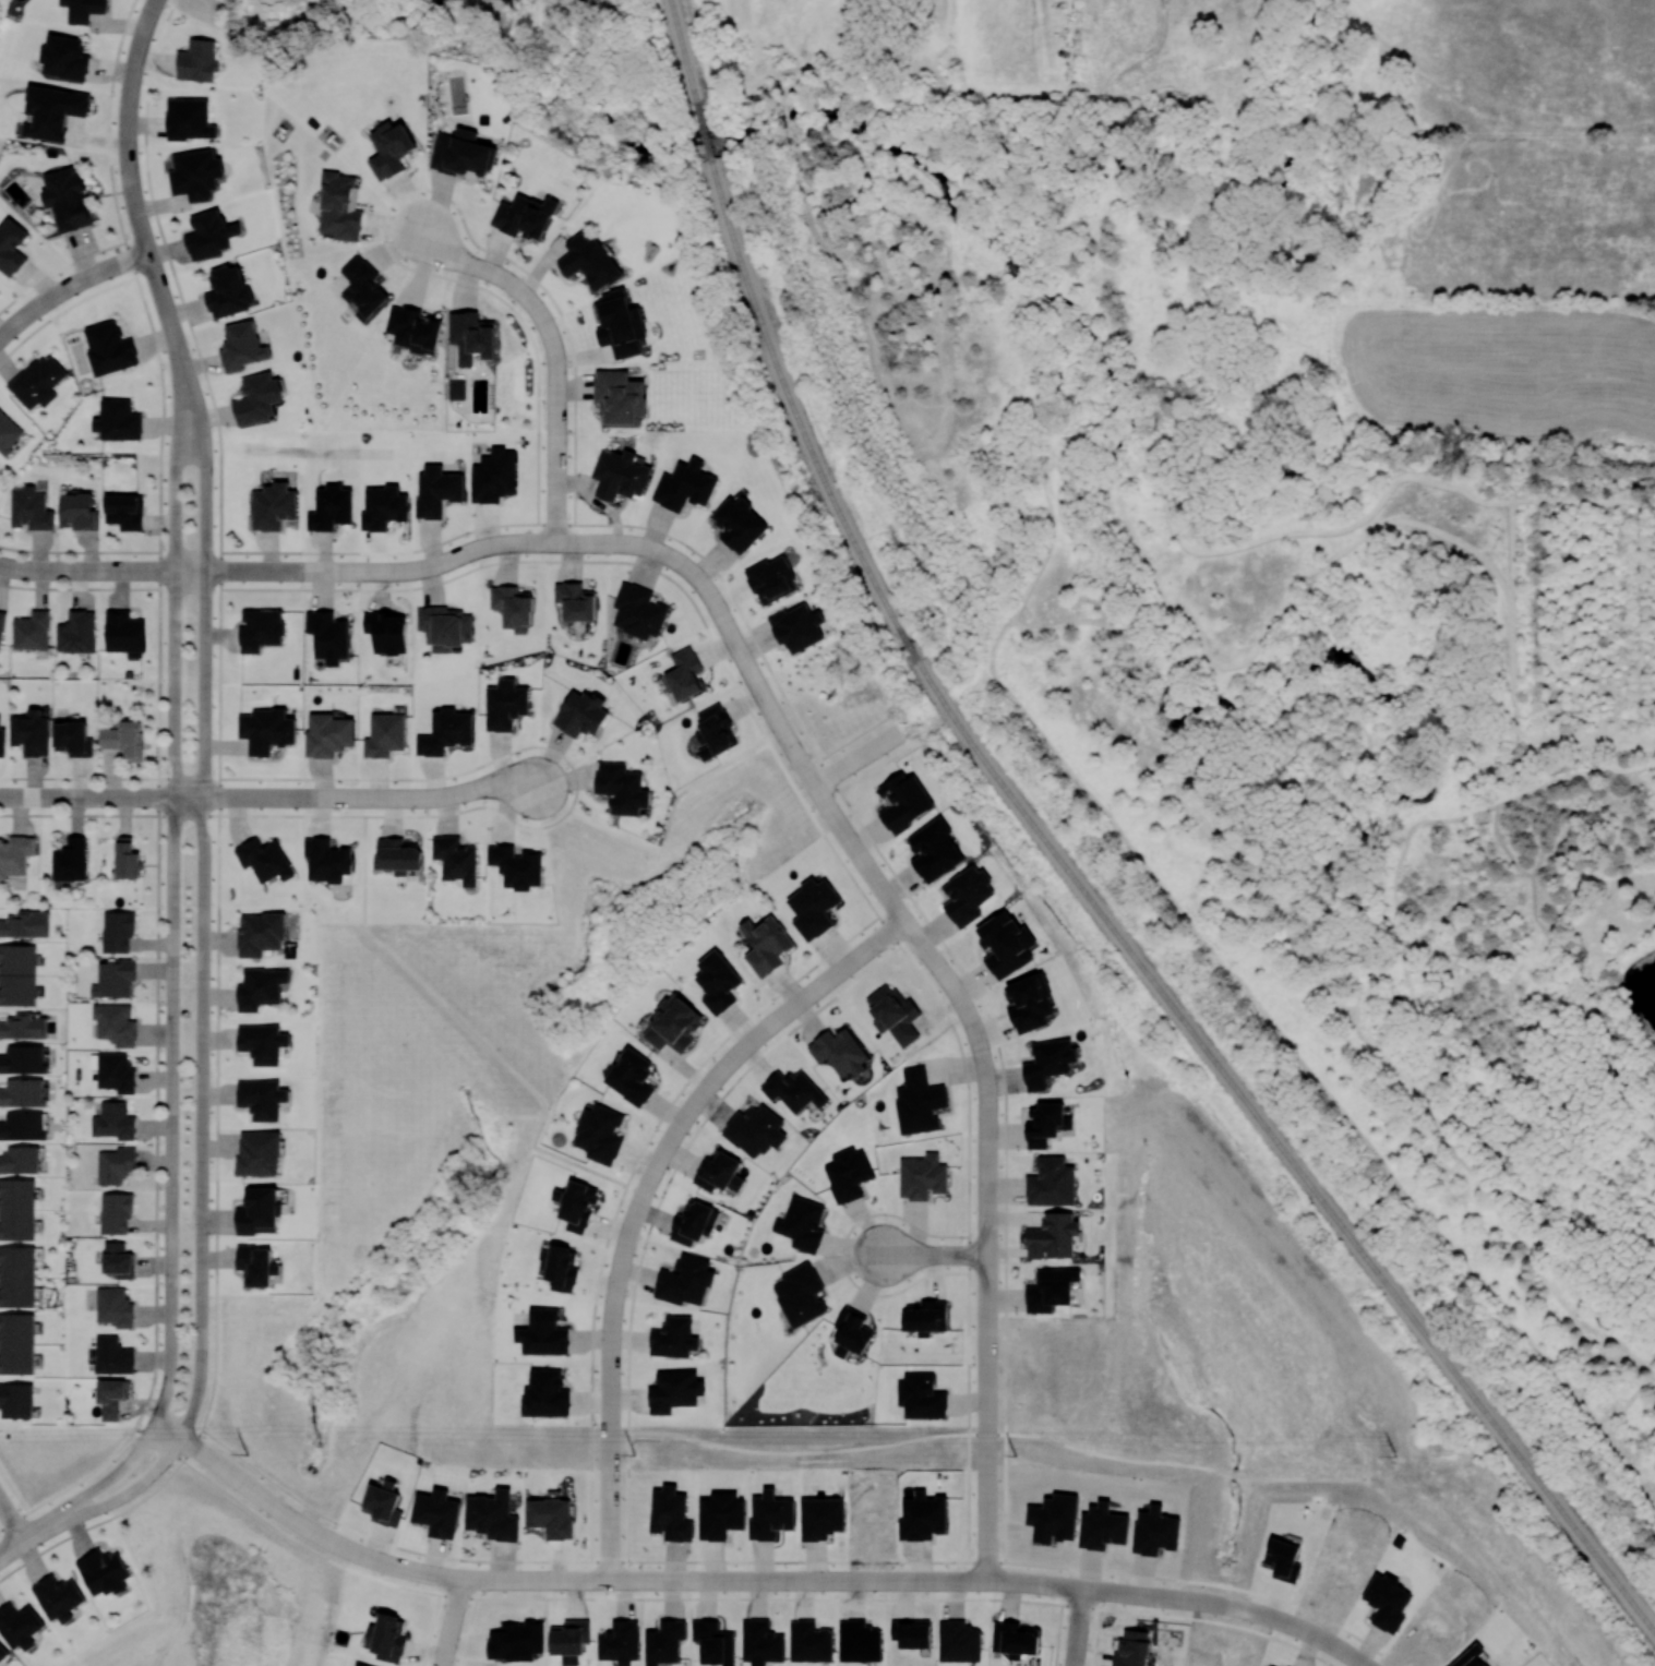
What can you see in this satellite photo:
road: (155, 0)
building: (84, 9)
park: (4, 11)
park: (204, 11)
railway: (674, 17)
building: (65, 57)
building: (197, 60)
railway: (686, 67)
road: (131, 71)
park: (591, 107)
building: (53, 111)
building: (189, 119)
railway: (703, 129)
building: (391, 148)
building: (464, 154)
building: (195, 173)
building: (67, 199)
building: (339, 207)
building: (524, 216)
building: (209, 235)
road: (145, 243)
building: (11, 247)
building: (589, 261)
road: (68, 284)
building: (362, 287)
building: (229, 291)
railway: (754, 303)
building: (621, 324)
building: (413, 329)
building: (471, 336)
building: (242, 346)
building: (109, 348)
road: (553, 350)
building: (38, 381)
road: (190, 384)
building: (457, 389)
building: (620, 396)
road: (177, 397)
building: (259, 397)
building: (118, 420)
building: (8, 433)
road: (202, 441)
building: (620, 475)
building: (494, 476)
building: (684, 486)
building: (436, 490)
building: (273, 506)
building: (331, 507)
building: (384, 507)
building: (31, 508)
building: (124, 511)
building: (77, 512)
building: (739, 524)
road: (433, 566)
road: (87, 571)
building: (771, 578)
building: (575, 601)
building: (513, 608)
building: (638, 611)
road: (722, 616)
road: (175, 624)
road: (204, 624)
building: (797, 626)
building: (1, 627)
building: (445, 627)
building: (261, 630)
building: (32, 631)
building: (124, 632)
building: (387, 632)
building: (76, 633)
building: (328, 635)
building: (684, 673)
road: (767, 702)
building: (505, 704)
building: (581, 712)
building: (266, 729)
building: (715, 730)
building: (32, 732)
building: (446, 732)
building: (328, 734)
building: (385, 734)
building: (73, 738)
building: (124, 739)
building: (2, 740)
road: (797, 755)
road: (859, 756)
road: (86, 777)
building: (622, 788)
road: (452, 792)
road: (157, 795)
road: (281, 795)
road: (101, 796)
road: (364, 796)
building: (903, 801)
road: (826, 803)
road: (493, 807)
road: (669, 822)
road: (218, 839)
building: (934, 850)
building: (15, 854)
building: (397, 855)
building: (127, 859)
building: (265, 859)
building: (455, 859)
building: (70, 860)
building: (326, 860)
building: (516, 865)
building: (967, 895)
park: (1273, 902)
building: (813, 907)
building: (25, 924)
building: (118, 932)
building: (261, 933)
building: (766, 944)
building: (1005, 944)
building: (17, 974)
building: (115, 979)
building: (718, 981)
building: (261, 987)
building: (1030, 1003)
building: (894, 1014)
building: (116, 1023)
road: (466, 1024)
building: (674, 1024)
building: (24, 1026)
road: (755, 1036)
building: (262, 1042)
road: (201, 1044)
railway: (1209, 1050)
building: (840, 1051)
building: (23, 1058)
building: (1048, 1062)
building: (113, 1071)
building: (631, 1076)
building: (793, 1090)
building: (23, 1092)
building: (262, 1098)
building: (919, 1101)
road: (170, 1112)
building: (113, 1120)
building: (1046, 1124)
building: (23, 1126)
building: (755, 1130)
building: (600, 1134)
park: (433, 1147)
building: (259, 1152)
park: (827, 1154)
park: (827, 1154)
building: (20, 1159)
building: (116, 1164)
building: (720, 1173)
building: (848, 1173)
building: (922, 1176)
road: (985, 1179)
building: (1051, 1182)
road: (643, 1191)
building: (576, 1204)
building: (17, 1209)
building: (259, 1211)
building: (116, 1212)
building: (694, 1221)
building: (802, 1223)
road: (934, 1254)
building: (118, 1259)
building: (256, 1265)
building: (562, 1268)
building: (17, 1275)
building: (685, 1280)
building: (1051, 1289)
building: (800, 1294)
building: (115, 1307)
building: (925, 1316)
building: (852, 1330)
building: (543, 1333)
building: (673, 1337)
building: (16, 1343)
building: (112, 1355)
road: (199, 1367)
road: (610, 1386)
building: (675, 1390)
building: (545, 1393)
building: (921, 1395)
building: (111, 1397)
building: (16, 1400)
road: (168, 1431)
road: (997, 1434)
power tower: (247, 1454)
power tower: (634, 1454)
power tower: (1394, 1455)
power tower: (1015, 1457)
road: (125, 1459)
road: (253, 1489)
road: (13, 1490)
road: (125, 1493)
building: (383, 1503)
road: (73, 1505)
building: (436, 1512)
building: (671, 1514)
building: (721, 1514)
building: (770, 1514)
building: (492, 1515)
building: (551, 1517)
building: (923, 1517)
building: (821, 1518)
building: (1054, 1518)
road: (11, 1519)
building: (1102, 1526)
road: (38, 1529)
park: (8, 1530)
building: (1154, 1531)
road: (11, 1545)
road: (339, 1545)
building: (1283, 1559)
building: (104, 1571)
road: (517, 1577)
road: (717, 1578)
road: (962, 1579)
building: (58, 1597)
road: (1186, 1599)
building: (1387, 1602)
road: (1220, 1603)
road: (1260, 1613)
road: (453, 1621)
building: (20, 1626)
road: (1075, 1628)
road: (430, 1630)
building: (912, 1632)
building: (569, 1637)
building: (386, 1638)
building: (1015, 1639)
road: (1322, 1639)
building: (516, 1641)
building: (663, 1641)
building: (859, 1641)
building: (959, 1641)
building: (620, 1642)
building: (713, 1642)
building: (760, 1642)
building: (809, 1642)
building: (1132, 1649)
building: (2, 1652)
building: (1472, 1657)
building: (359, 1664)
building: (1270, 1665)

